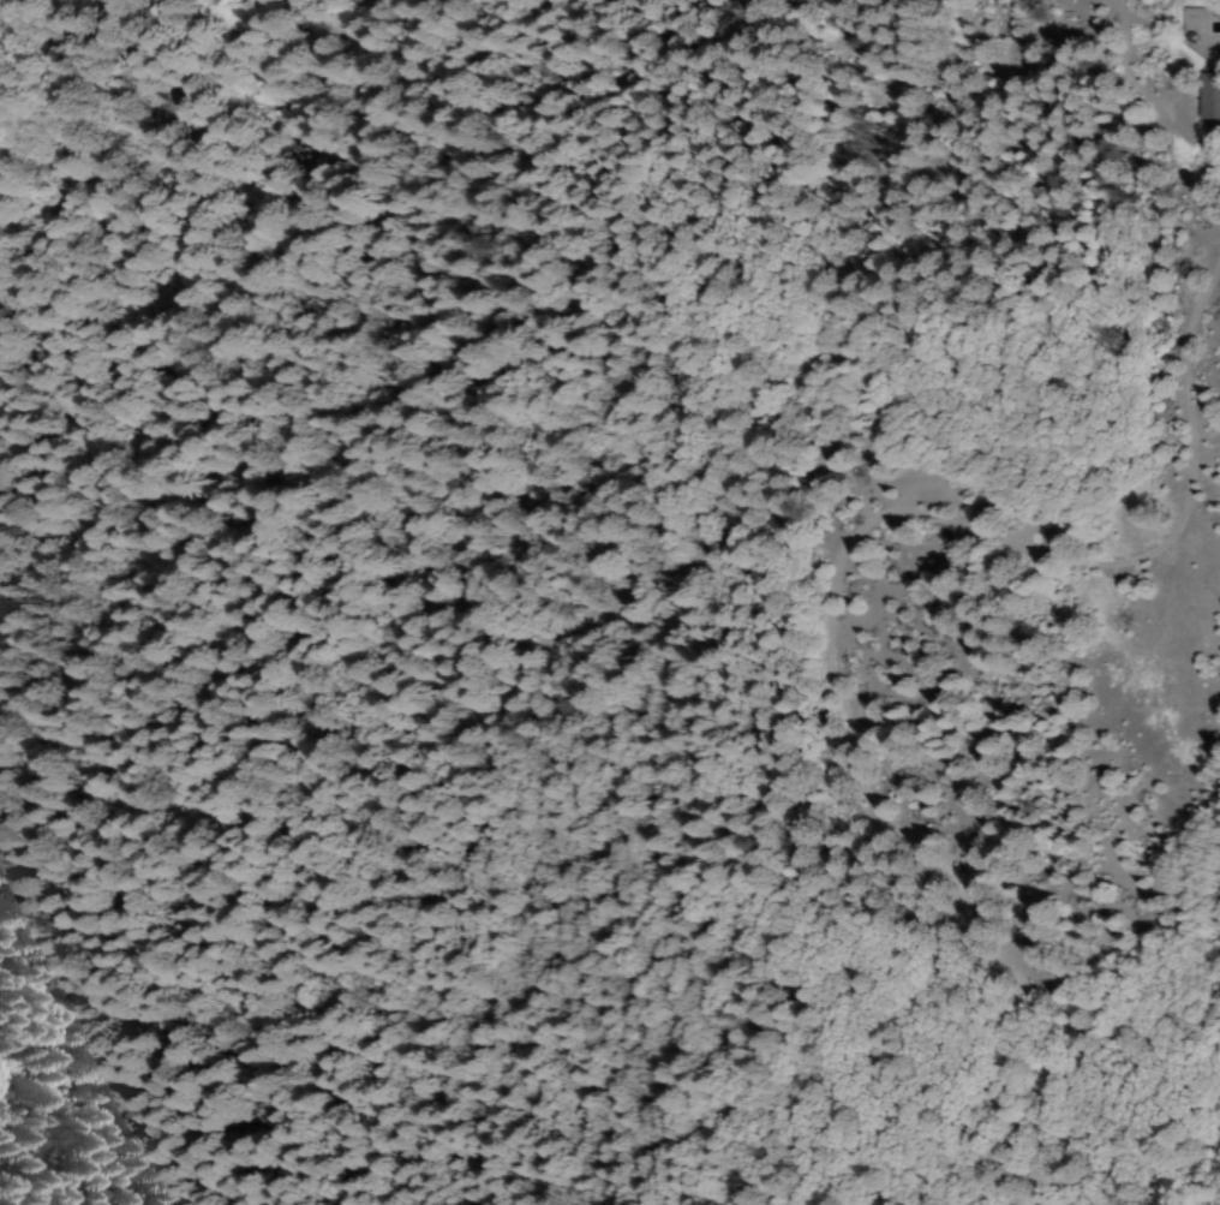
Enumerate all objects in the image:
building: (1208, 102)

